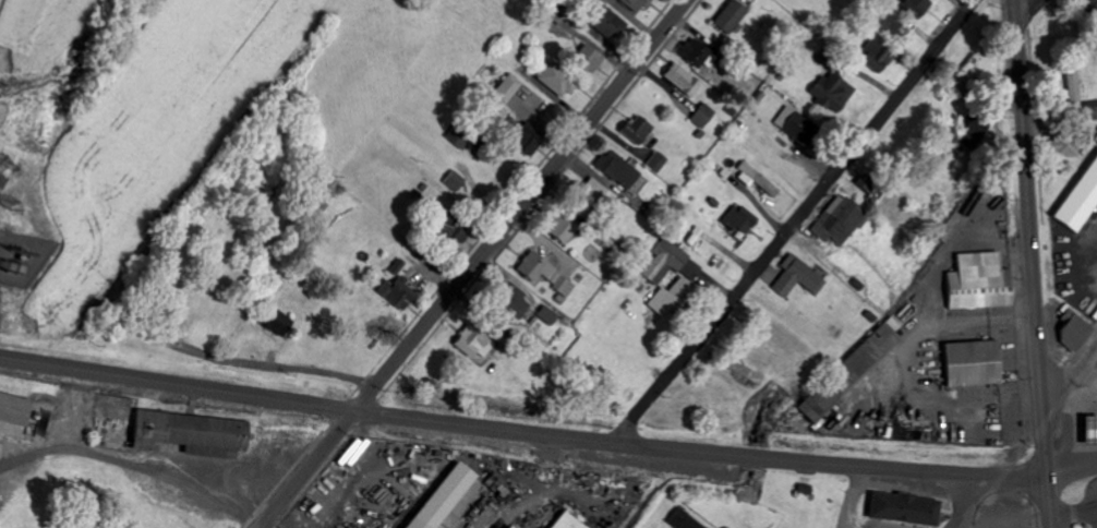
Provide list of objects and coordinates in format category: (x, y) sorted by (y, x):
building: (634, 4)
building: (914, 7)
road: (1029, 7)
building: (1088, 10)
building: (728, 16)
building: (890, 20)
building: (604, 23)
building: (872, 57)
building: (584, 59)
building: (1070, 73)
building: (554, 81)
building: (680, 81)
building: (504, 88)
building: (828, 93)
building: (1089, 111)
building: (700, 116)
building: (789, 124)
building: (978, 128)
building: (634, 130)
building: (519, 142)
building: (1066, 146)
building: (654, 163)
building: (614, 169)
power substation: (1, 178)
building: (754, 180)
building: (454, 181)
road: (818, 193)
building: (591, 194)
building: (1078, 200)
building: (736, 220)
building: (836, 221)
building: (443, 229)
building: (558, 230)
power substation: (20, 262)
road: (469, 263)
building: (670, 263)
road: (1033, 264)
building: (397, 267)
building: (543, 275)
building: (797, 278)
building: (977, 283)
building: (396, 293)
building: (668, 298)
building: (508, 302)
building: (544, 315)
building: (274, 321)
building: (1072, 331)
building: (471, 345)
building: (971, 364)
road: (272, 367)
building: (848, 374)
road: (1071, 387)
building: (14, 409)
road: (638, 416)
building: (1089, 432)
road: (547, 435)
road: (981, 491)
building: (442, 496)
road: (953, 500)
building: (902, 507)
building: (683, 519)
building: (566, 520)

